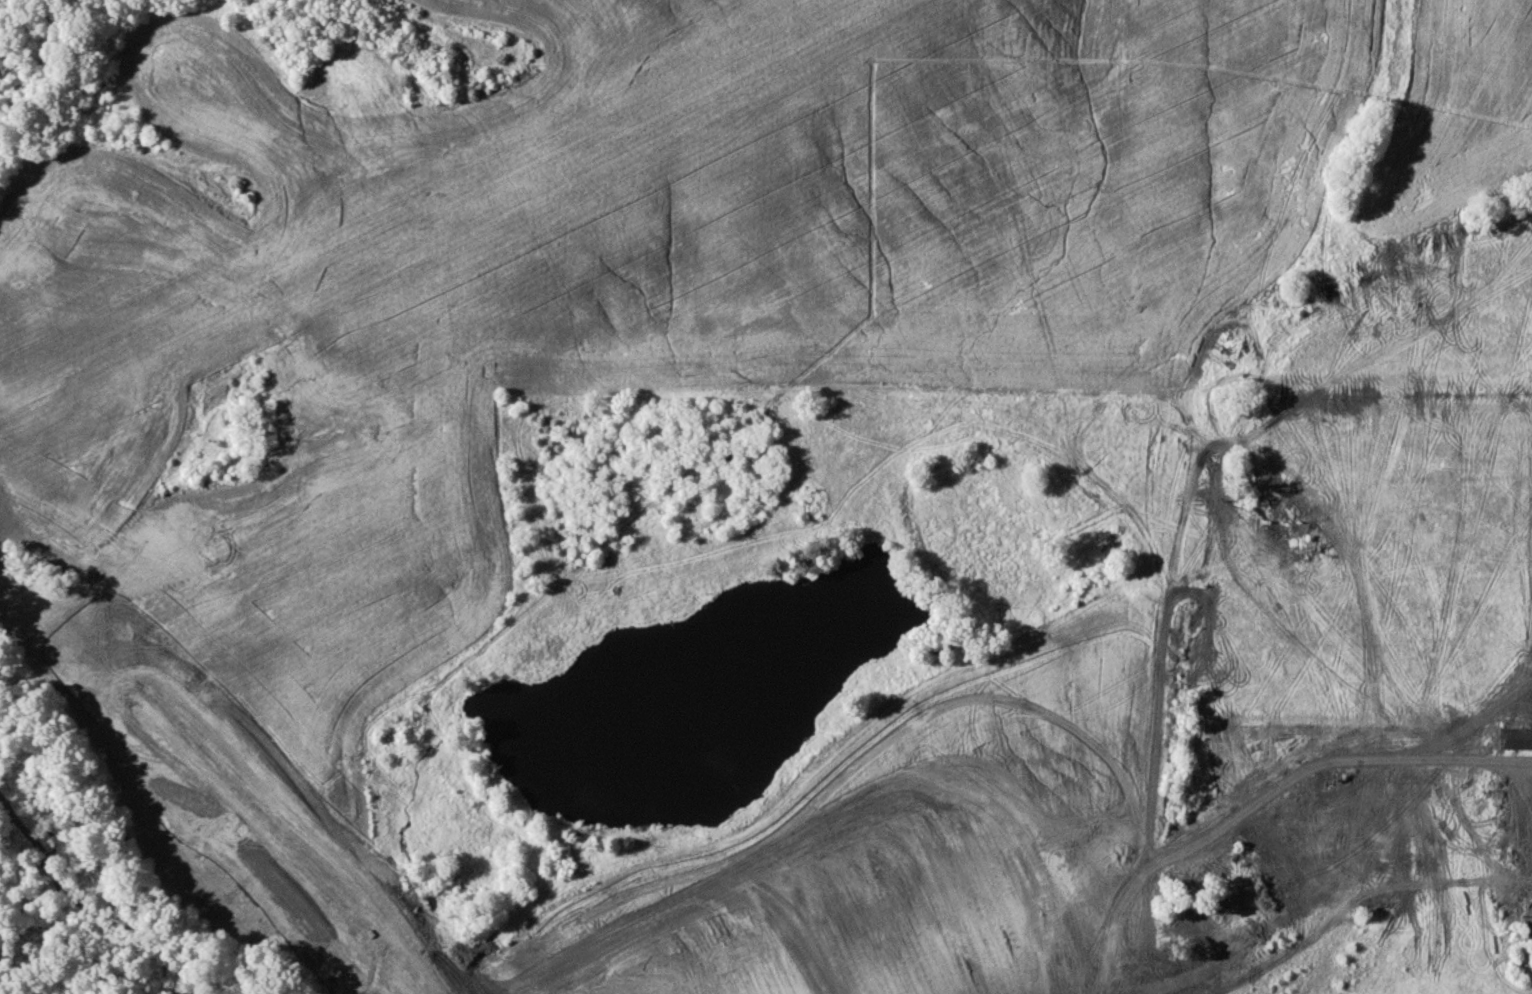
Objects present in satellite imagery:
crop: (699, 271)
building: (1517, 737)
road: (1339, 757)
crop: (930, 852)
road: (277, 857)
road: (326, 859)

